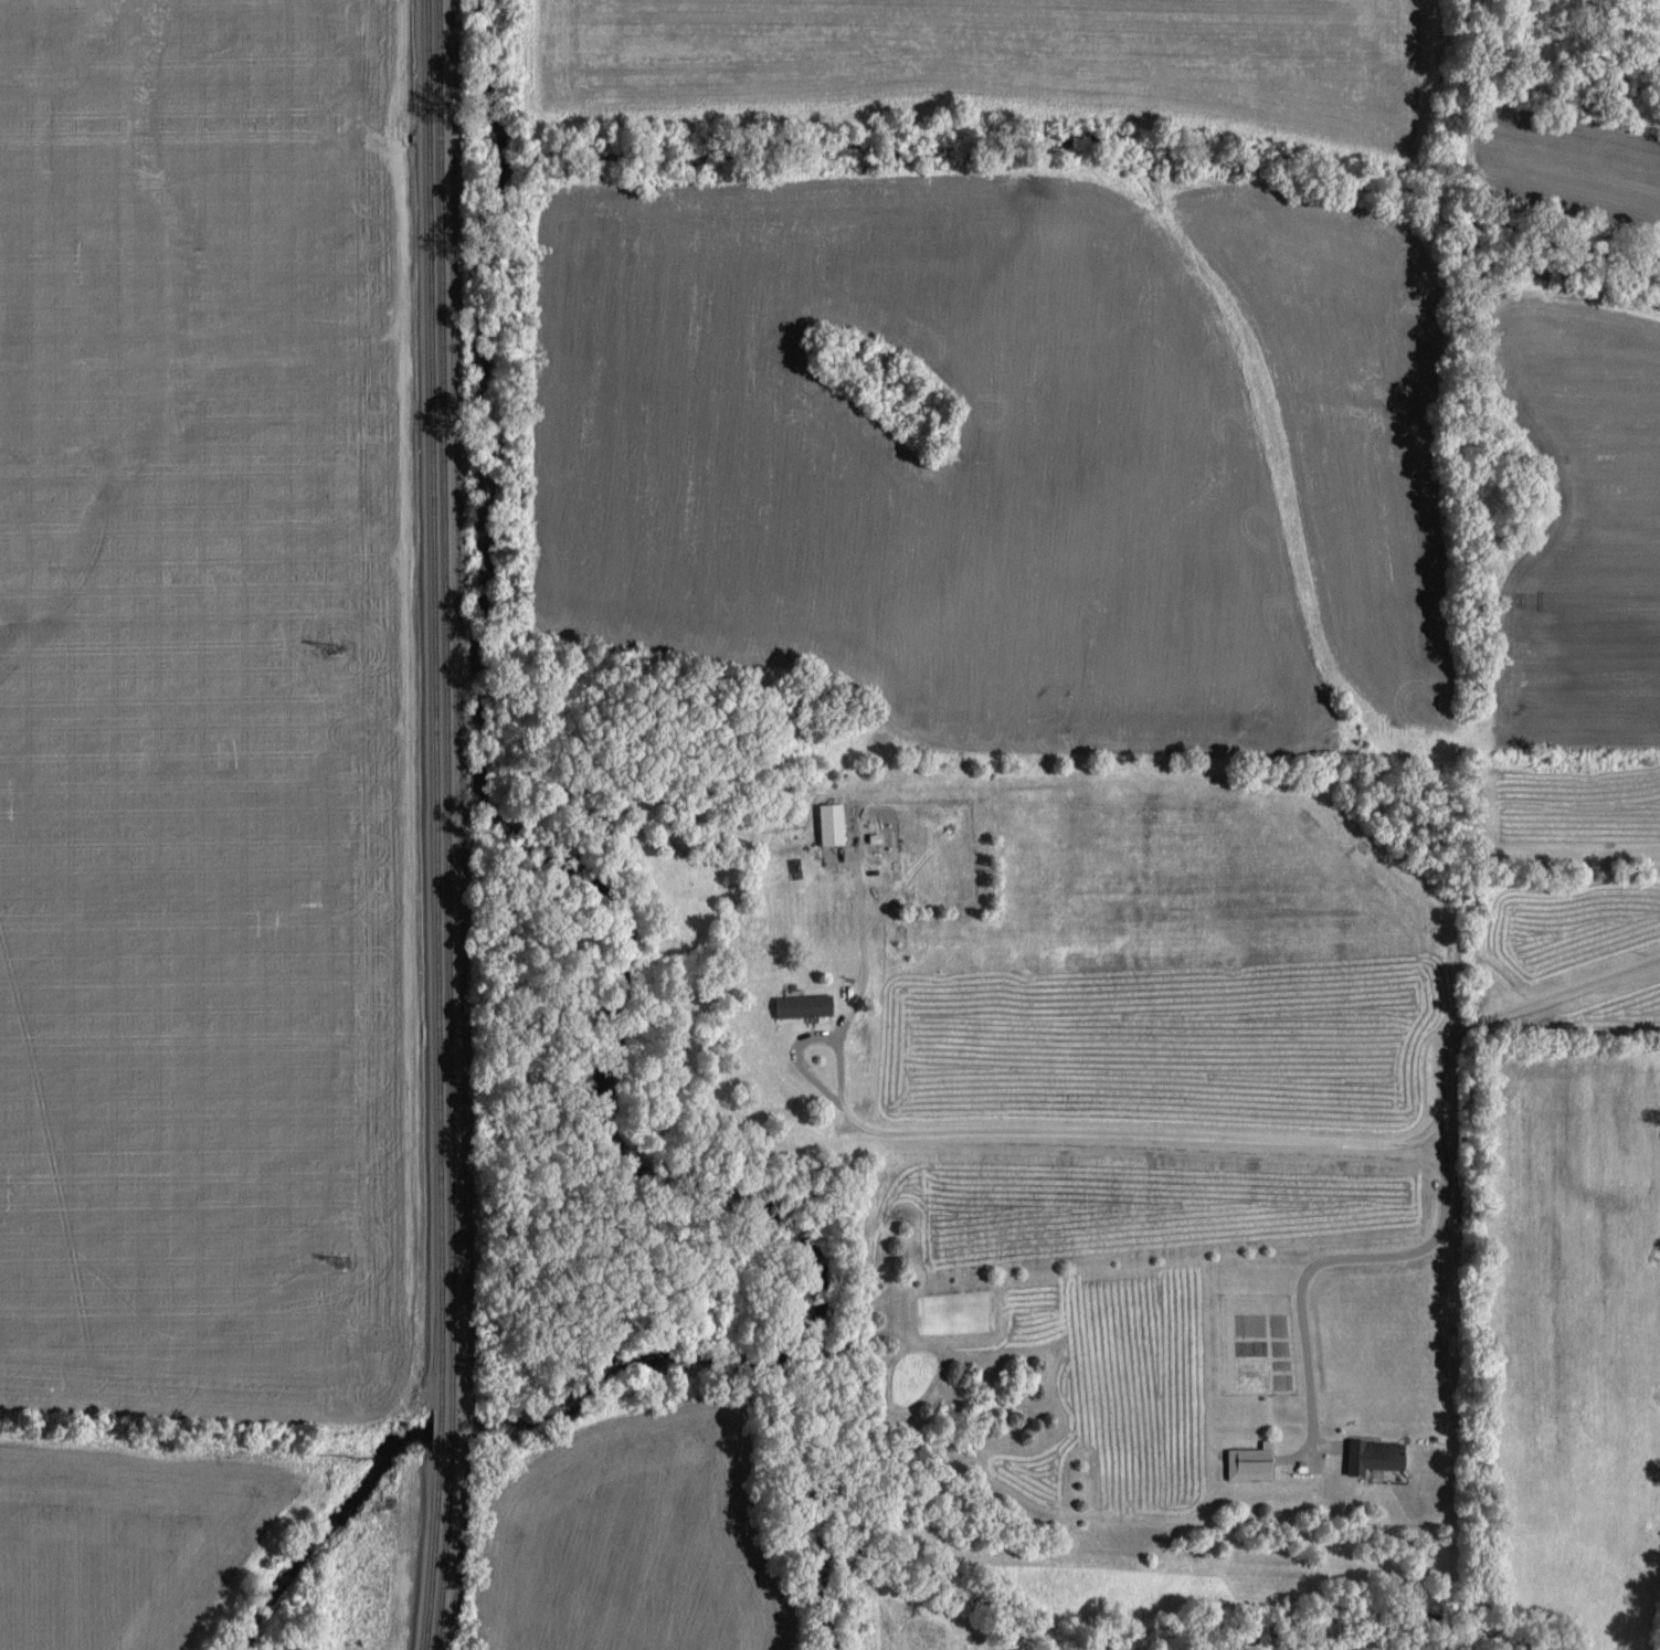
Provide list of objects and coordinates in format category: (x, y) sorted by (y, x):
railway: (448, 706)
building: (824, 822)
building: (799, 1004)
railway: (452, 1428)
building: (1366, 1452)
building: (1245, 1459)
railway: (443, 1546)

